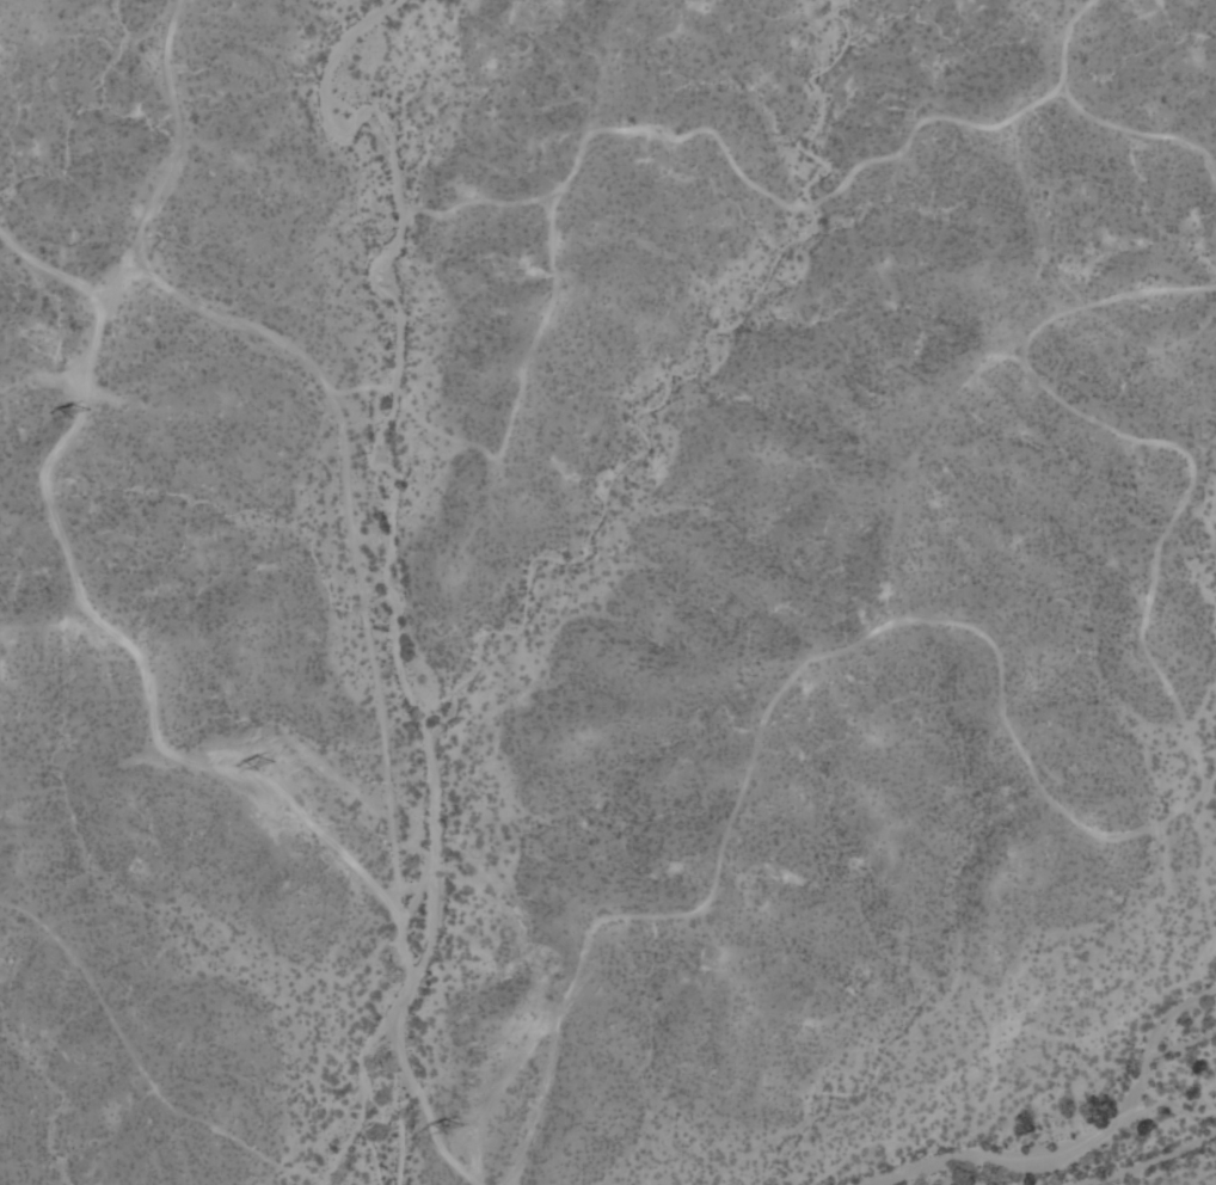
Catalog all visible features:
road: (1136, 133)
road: (766, 190)
road: (122, 275)
road: (333, 398)
power tower: (80, 411)
road: (152, 738)
power tower: (264, 765)
road: (1028, 766)
road: (540, 1098)
power tower: (459, 1125)

